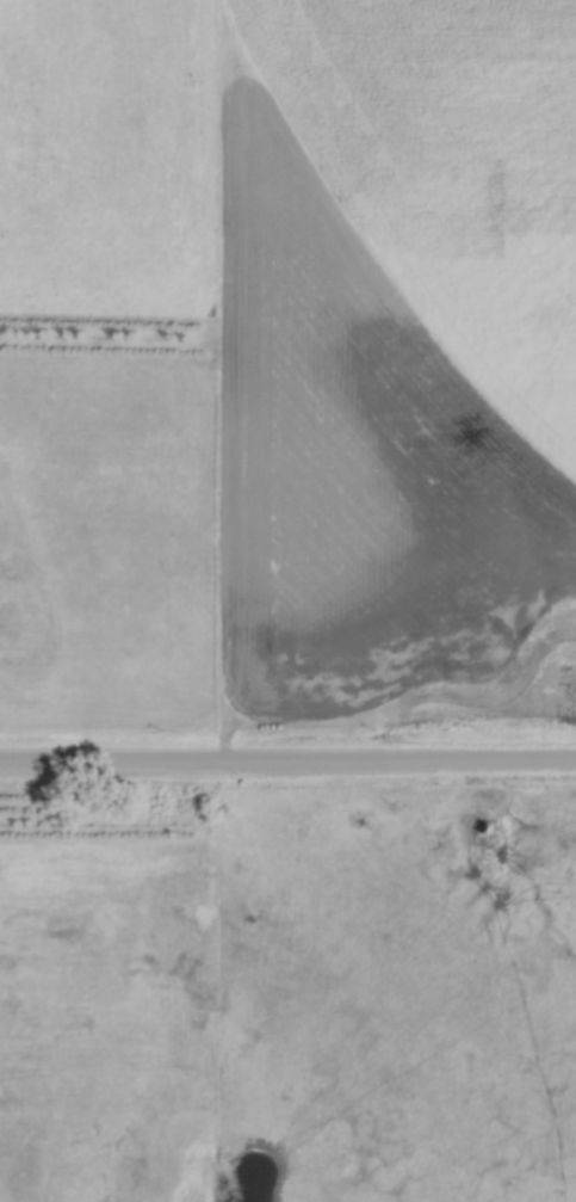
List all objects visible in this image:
road: (287, 764)

